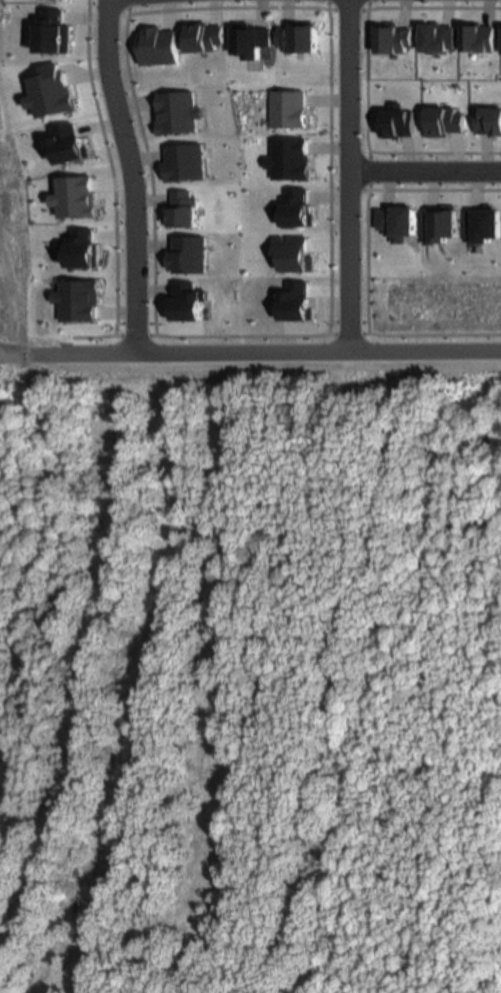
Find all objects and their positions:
road: (126, 3)
road: (343, 3)
road: (390, 4)
road: (117, 6)
road: (349, 7)
road: (372, 8)
road: (352, 84)
road: (387, 85)
road: (368, 158)
road: (384, 164)
road: (426, 172)
road: (117, 178)
road: (385, 199)
park: (8, 214)
road: (375, 228)
road: (349, 260)
road: (383, 291)
park: (441, 312)
road: (141, 321)
road: (111, 334)
road: (358, 334)
road: (130, 335)
road: (340, 335)
road: (369, 342)
road: (330, 343)
road: (102, 345)
road: (141, 346)
road: (257, 353)
road: (7, 354)

